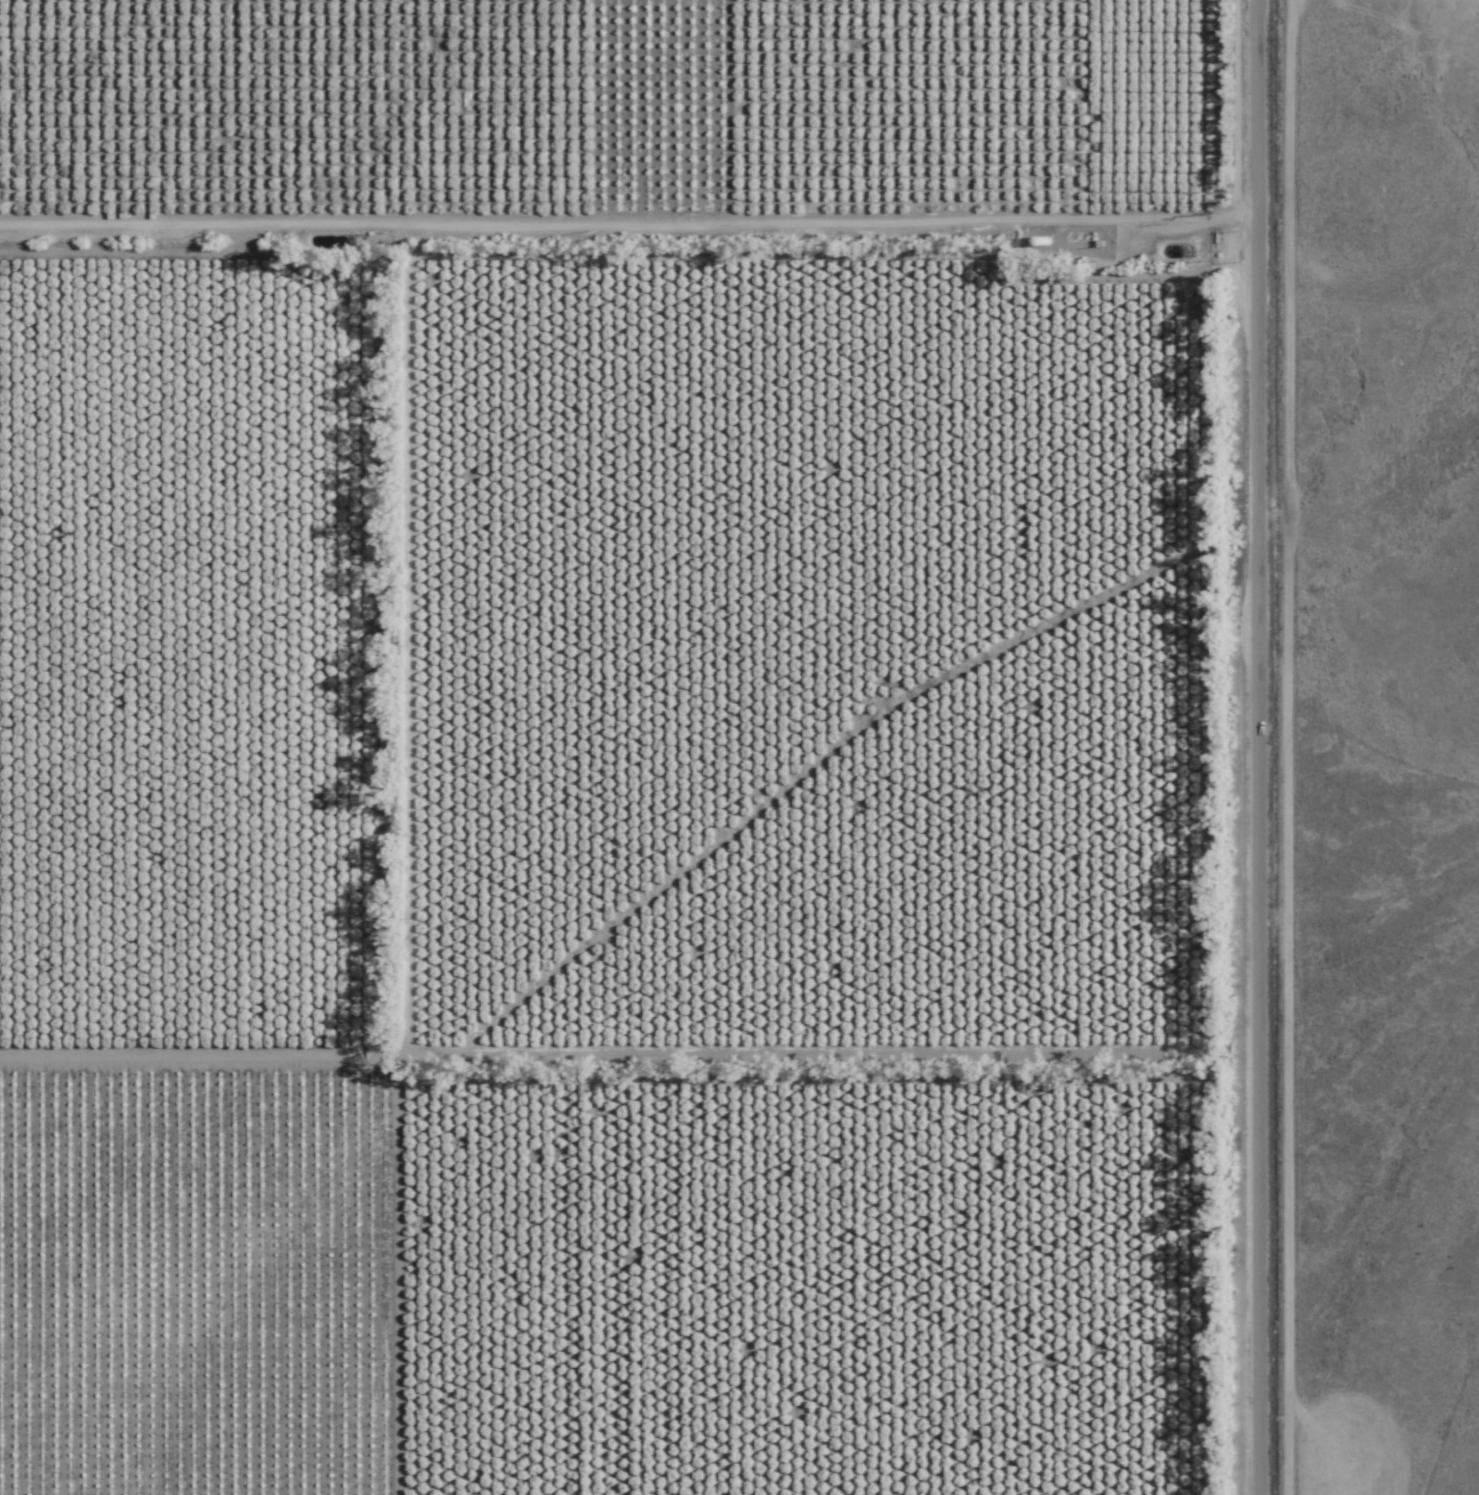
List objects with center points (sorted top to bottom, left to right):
road: (629, 223)
crop: (624, 746)
road: (1261, 747)
building: (803, 806)
building: (657, 824)
building: (757, 1291)
road: (1450, 1435)
building: (563, 1469)
building: (1016, 1493)
building: (812, 1494)

